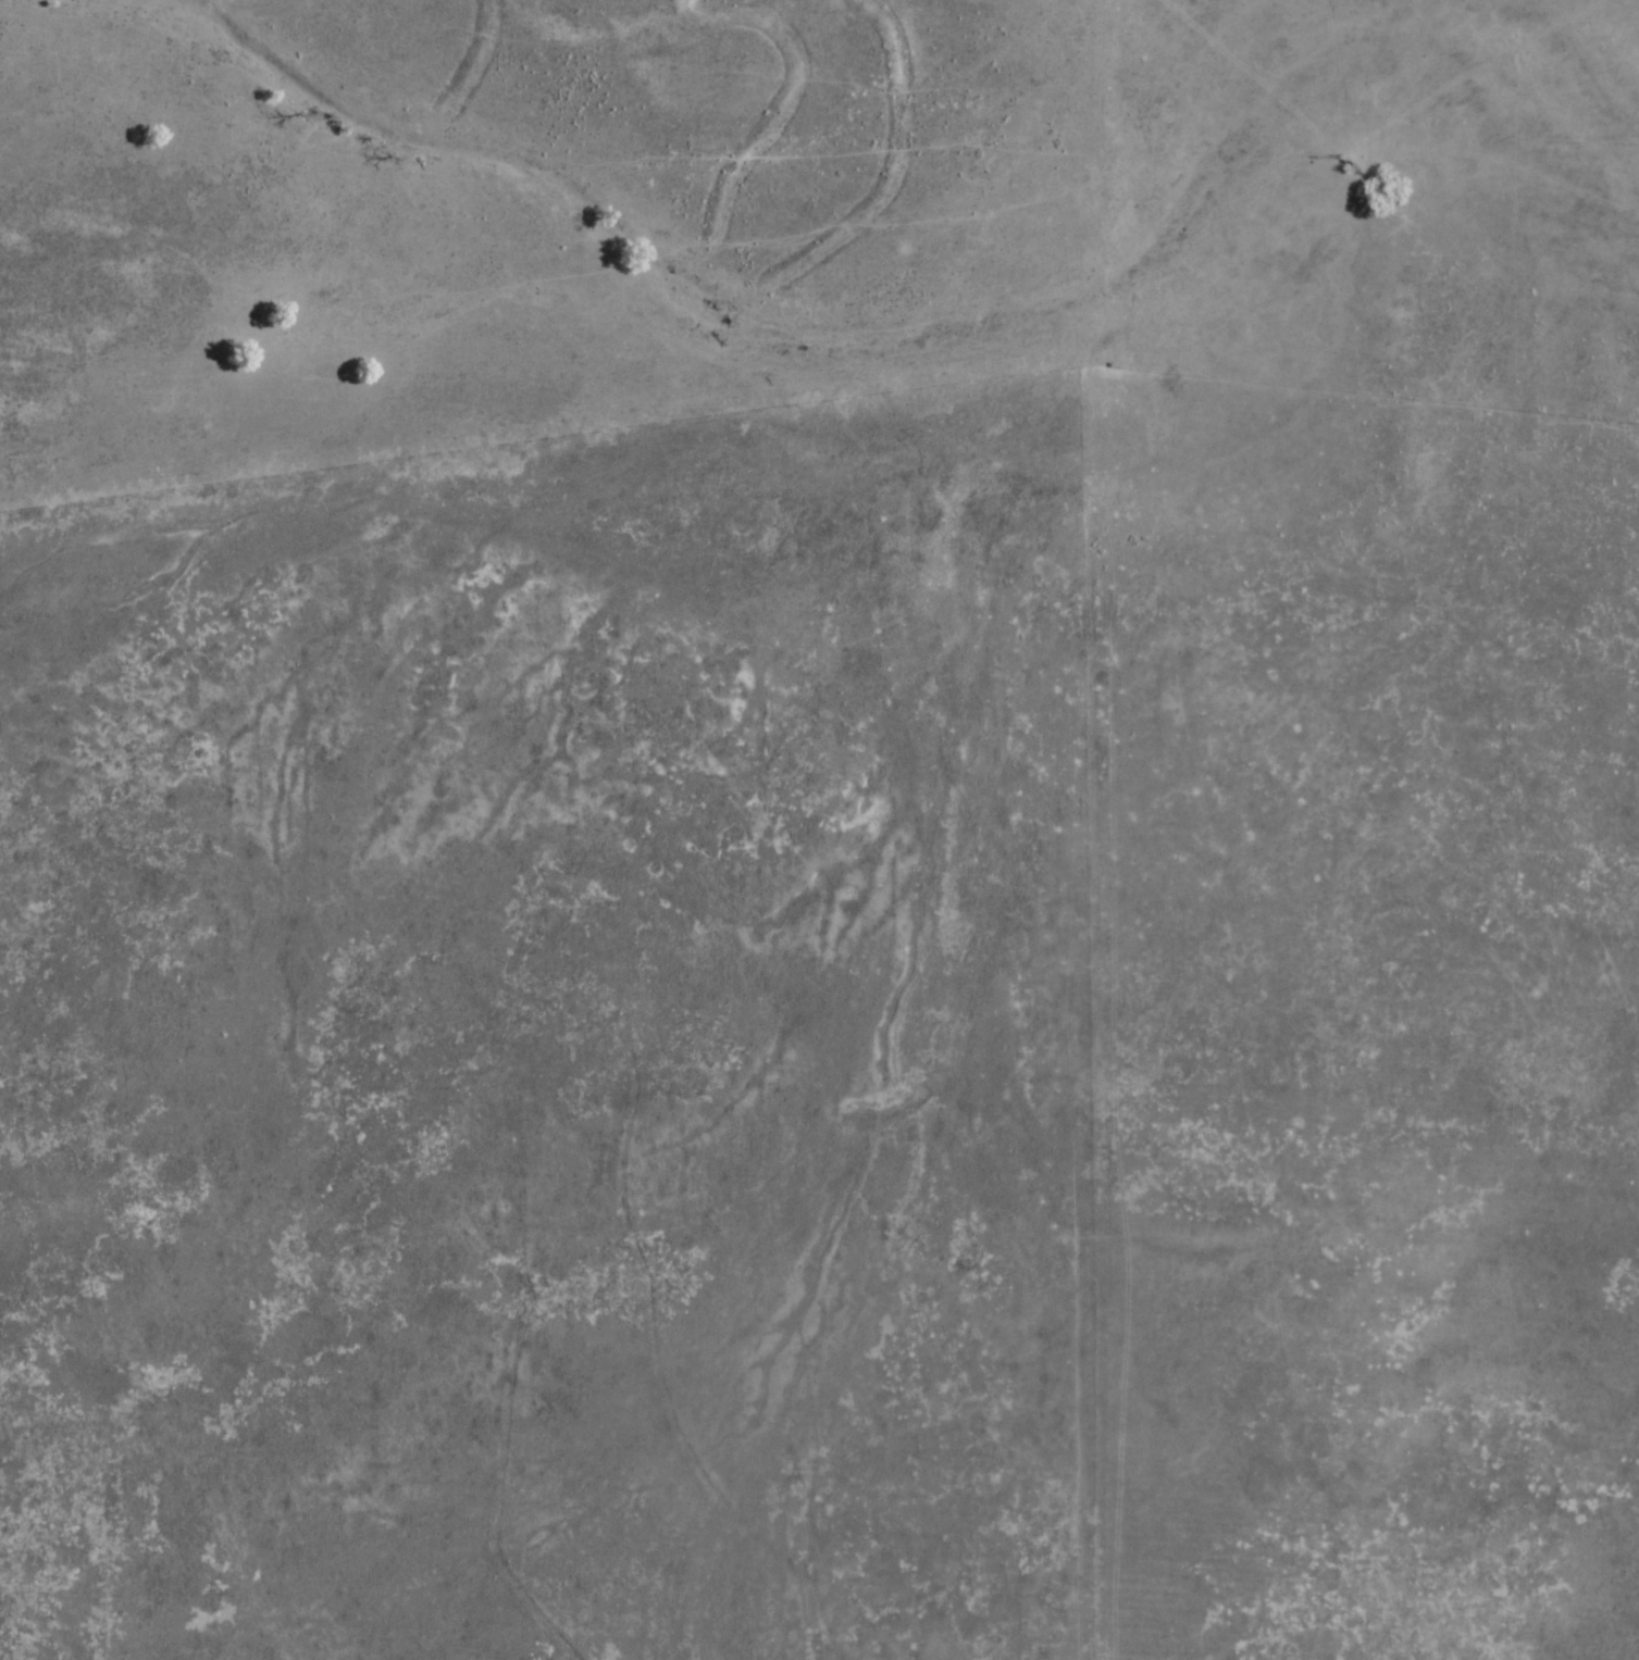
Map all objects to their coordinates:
road: (1350, 34)

